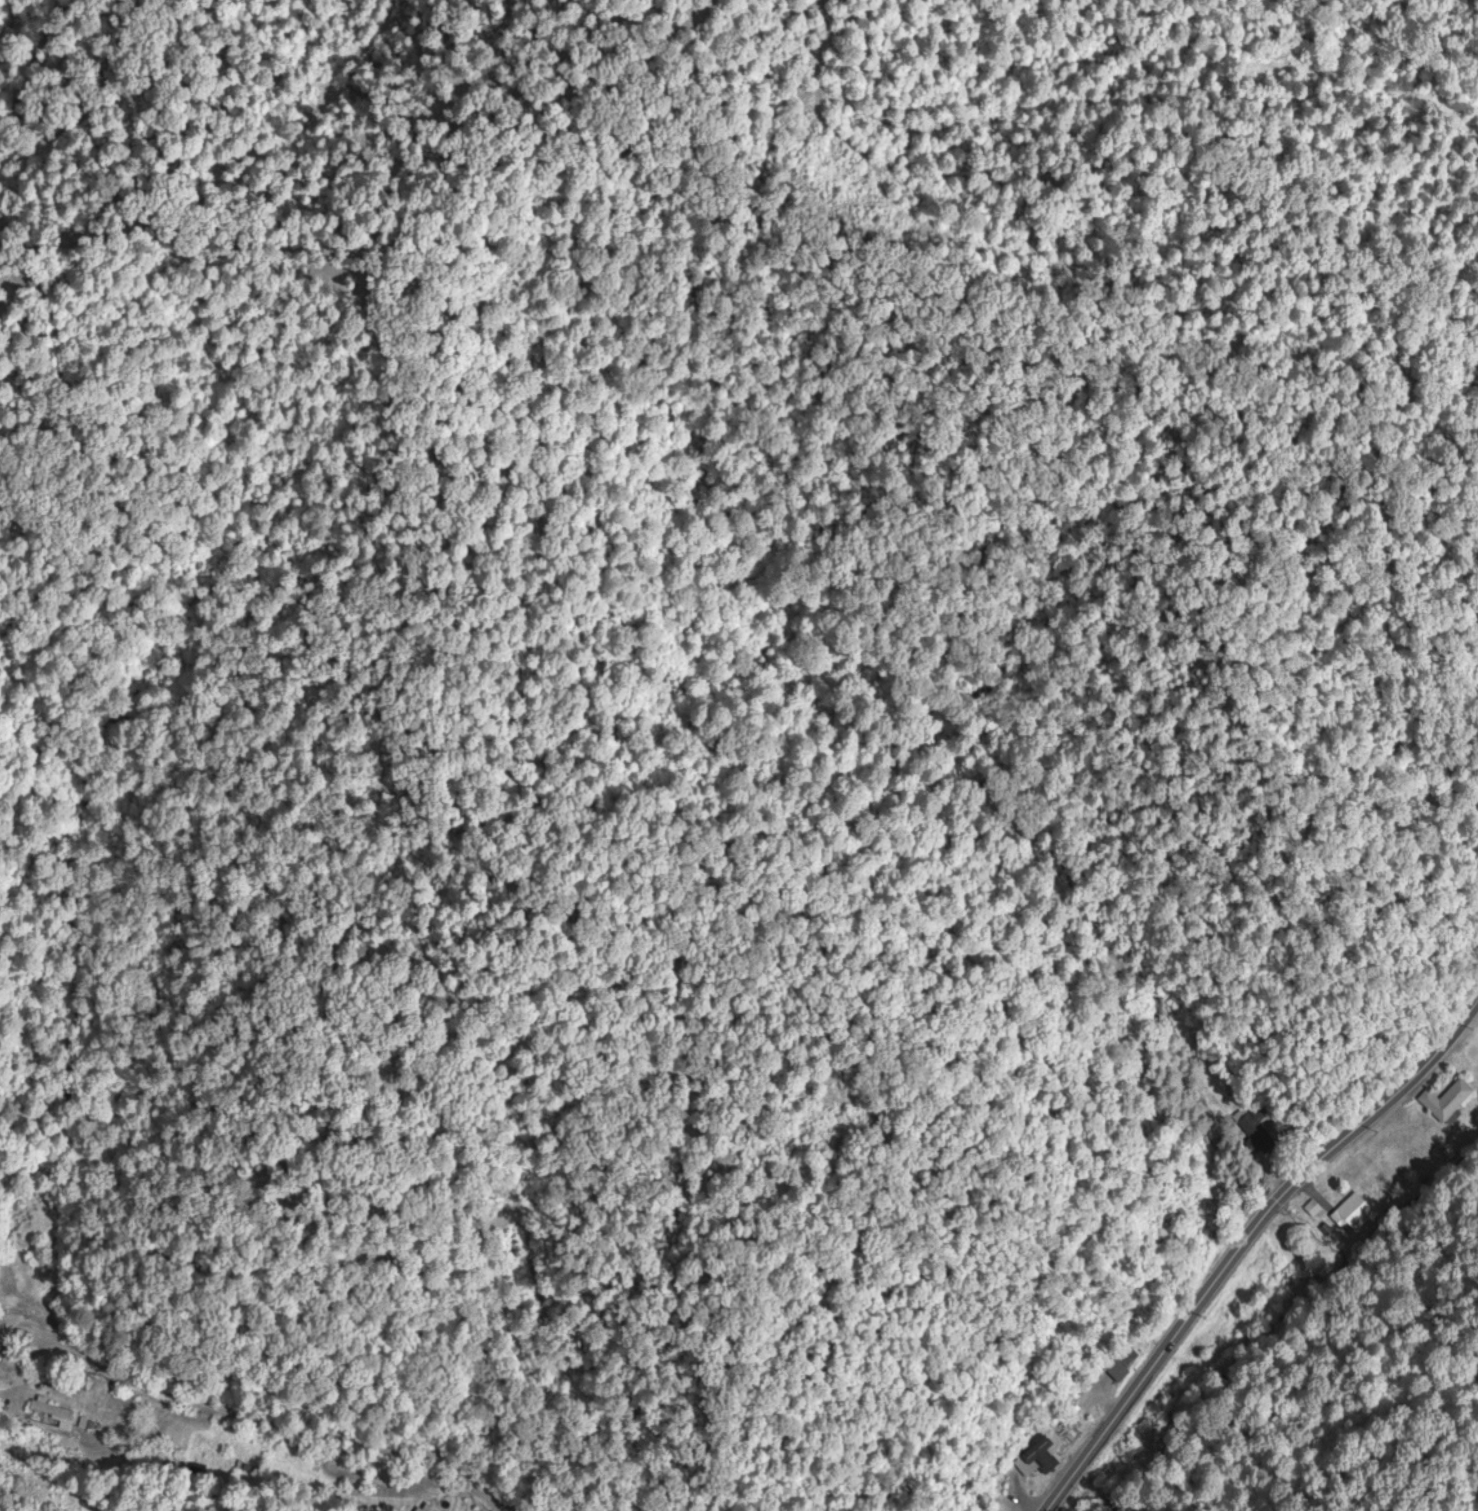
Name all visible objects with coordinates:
building: (1263, 1142)
road: (1247, 1243)
road: (267, 1410)
building: (1037, 1458)

